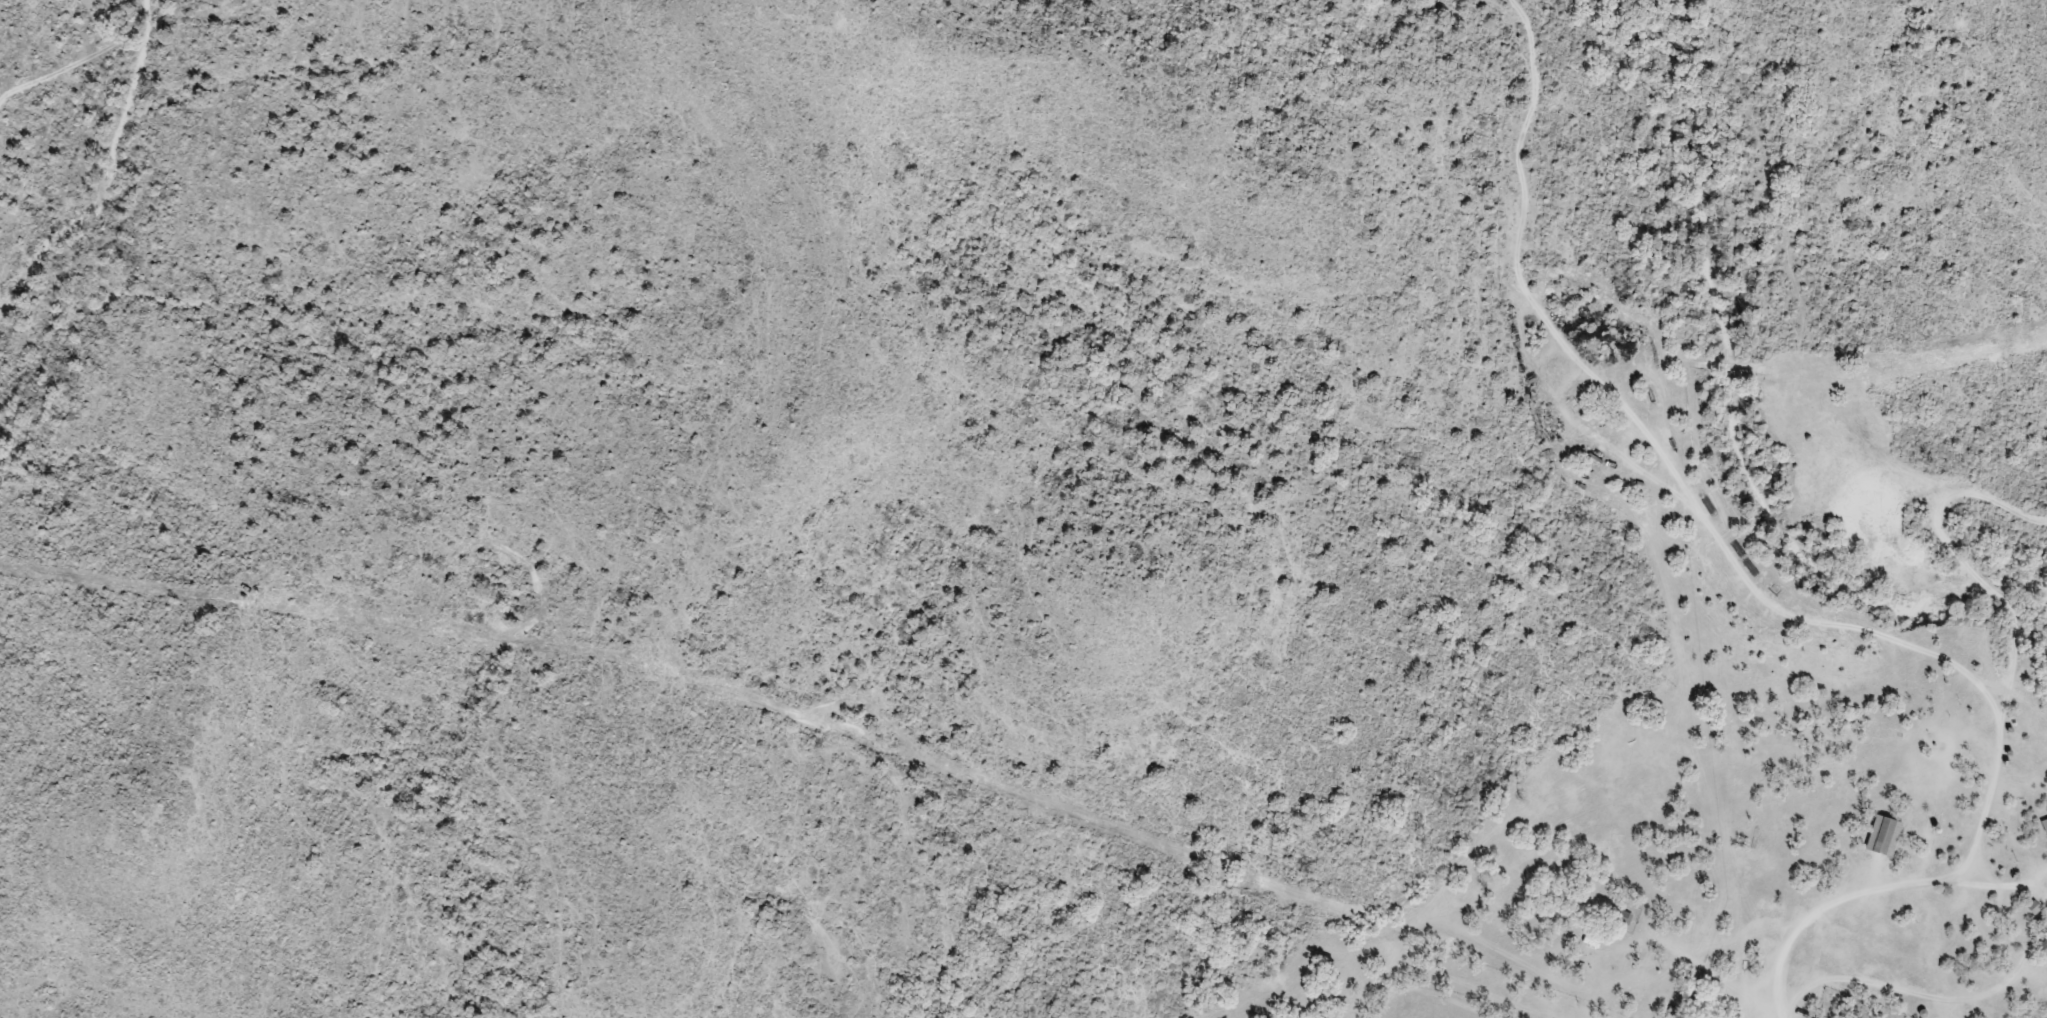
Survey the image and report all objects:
road: (79, 61)
road: (1636, 420)
road: (1994, 743)
building: (2043, 826)
building: (1881, 837)
building: (1618, 917)
building: (2042, 948)
building: (1700, 1002)

